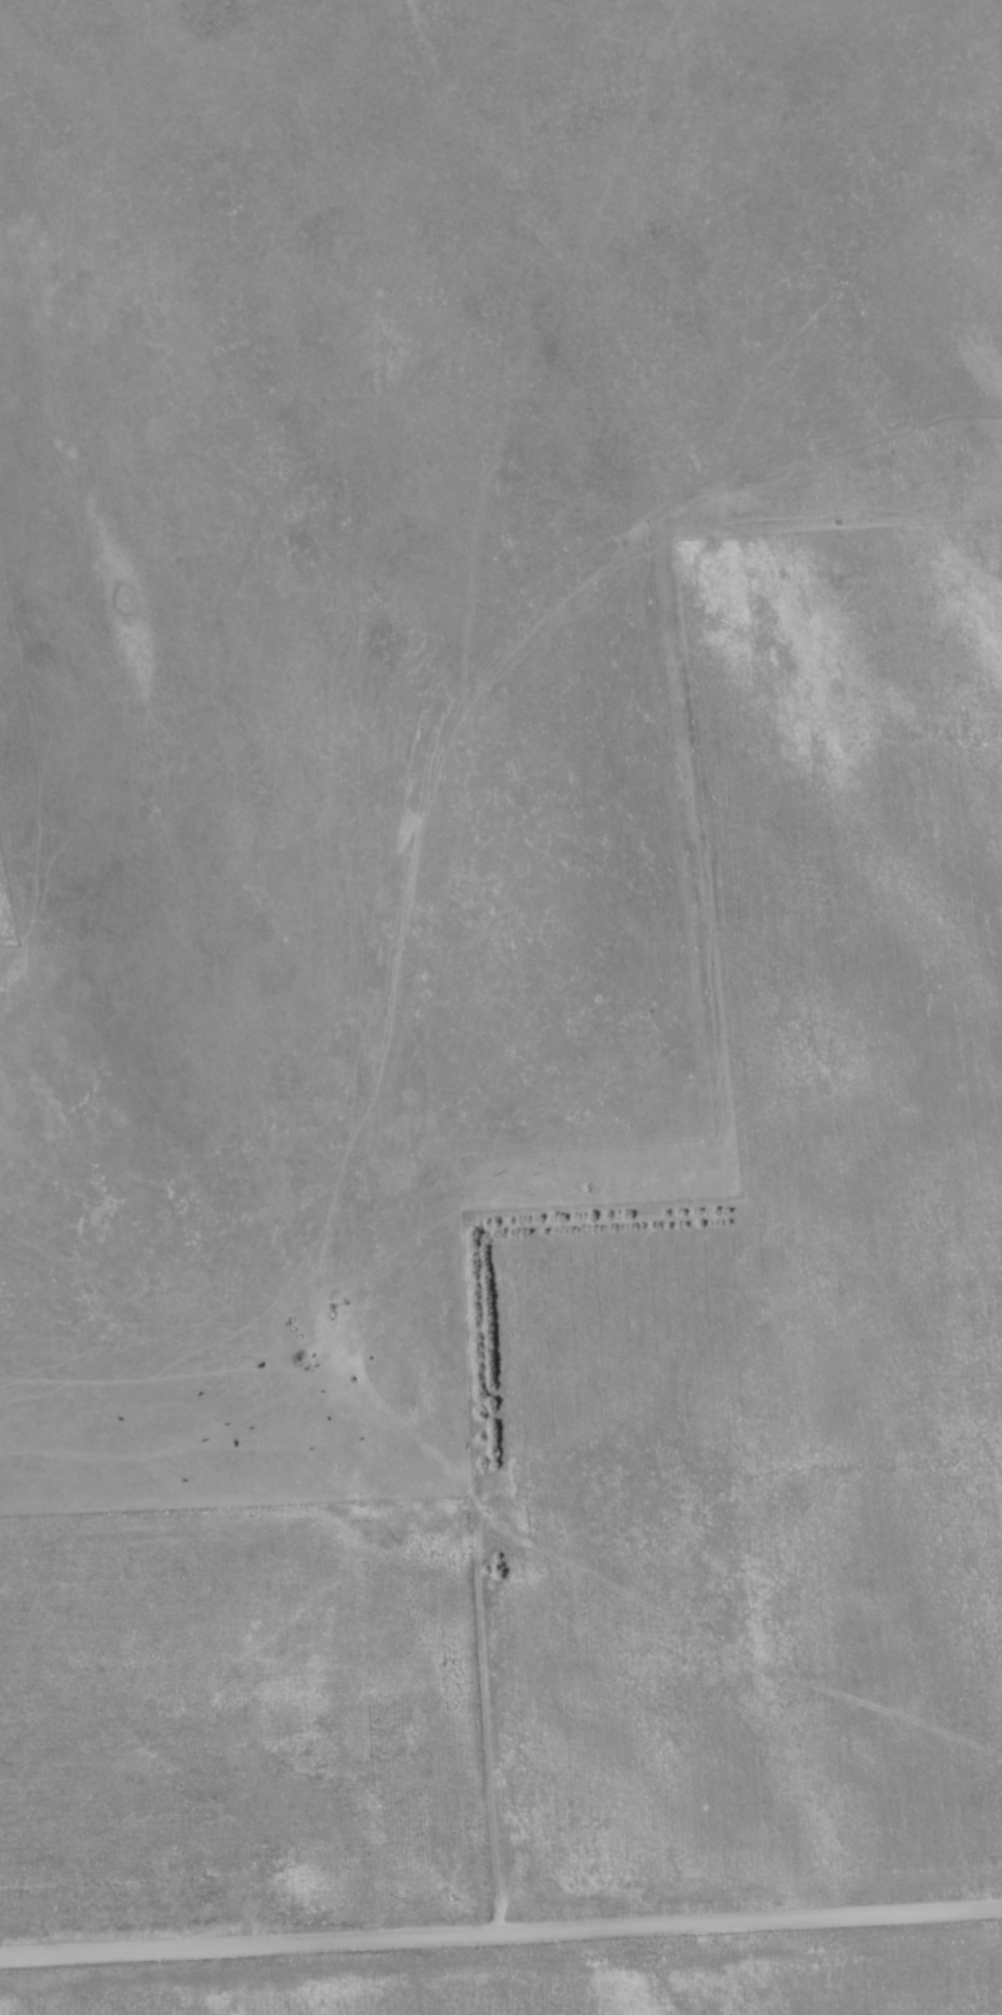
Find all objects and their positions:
road: (501, 1935)

